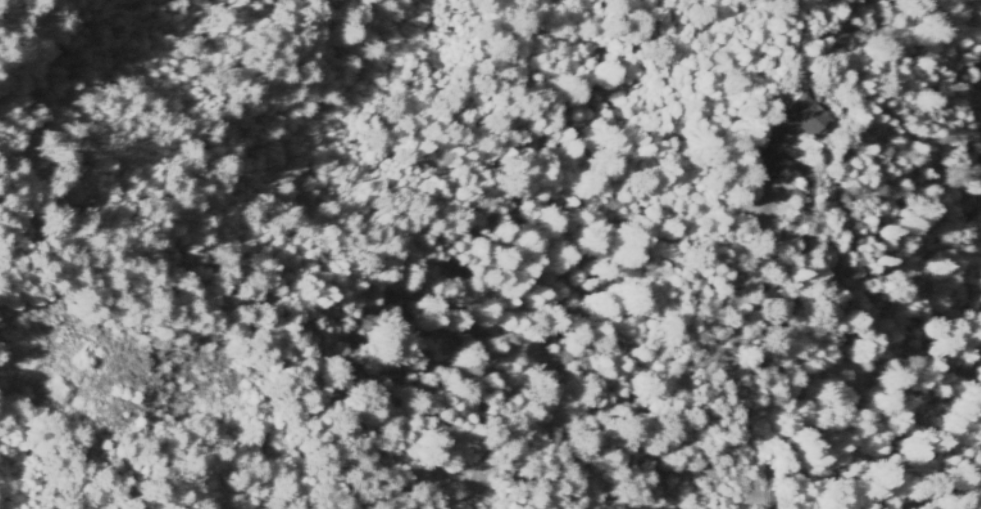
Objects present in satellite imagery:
building: (804, 119)

